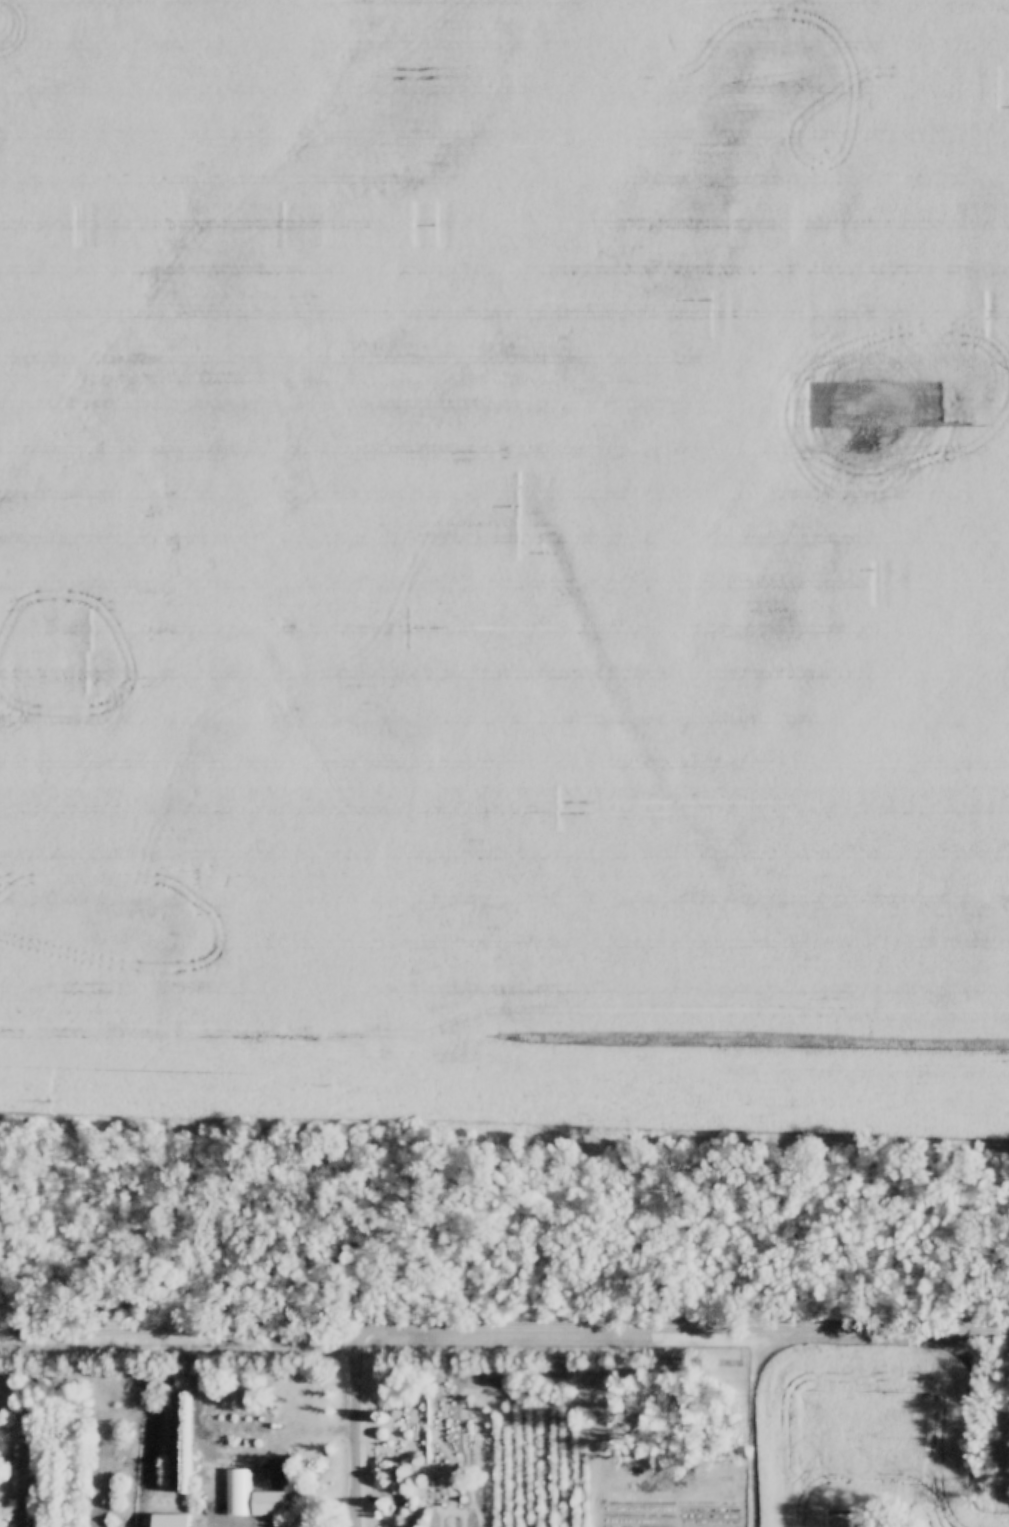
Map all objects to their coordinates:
road: (179, 1327)
road: (684, 1328)
road: (357, 1427)
road: (747, 1427)
building: (267, 1501)
building: (167, 1521)

